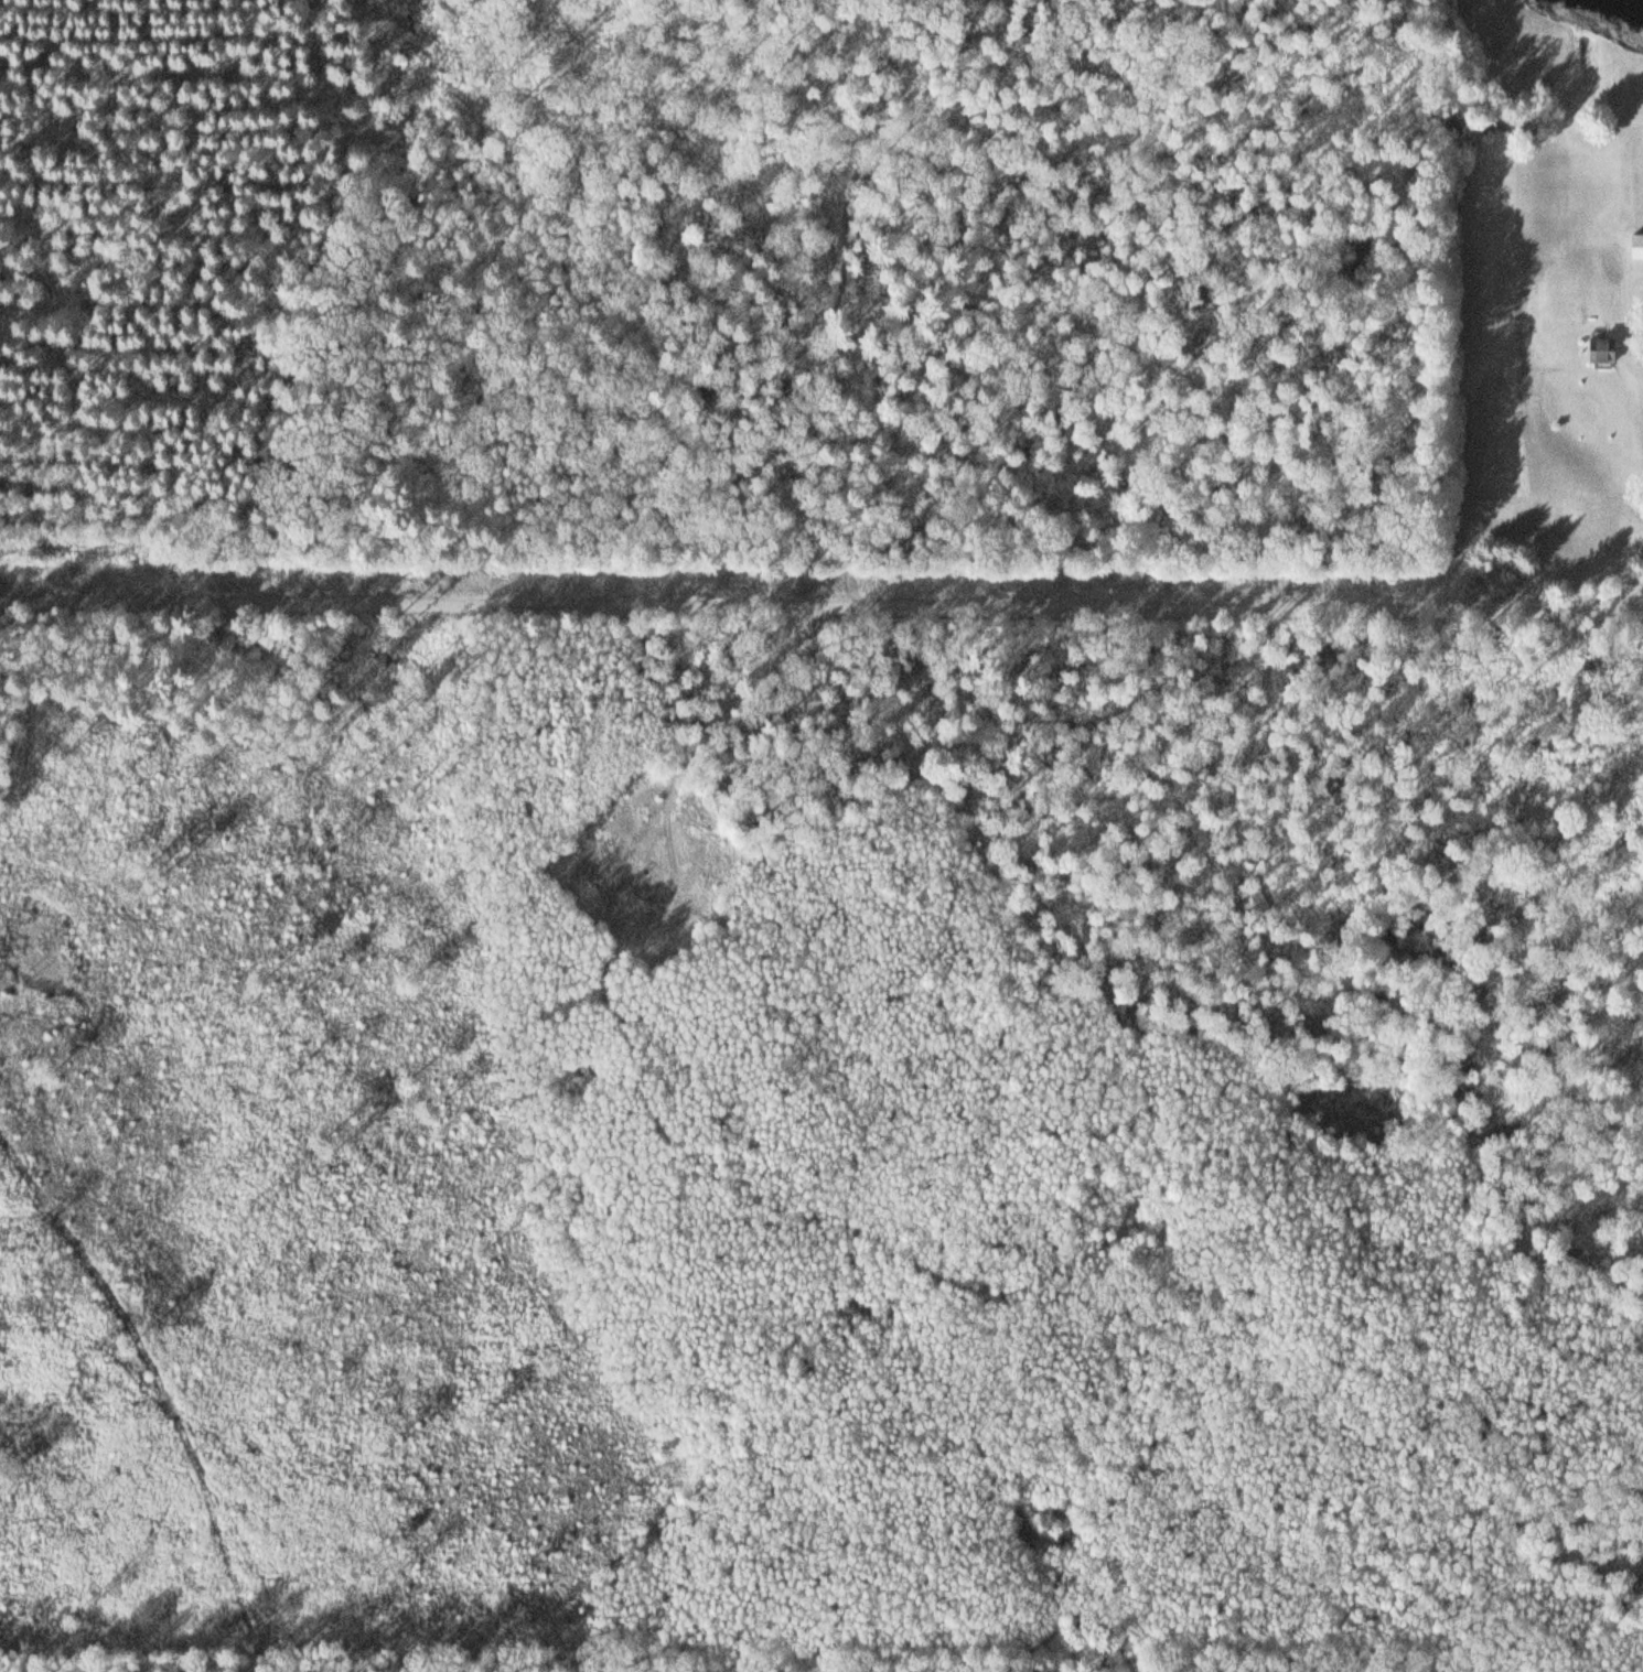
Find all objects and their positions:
building: (1633, 247)
building: (1596, 350)
road: (1141, 352)
road: (559, 481)
road: (820, 604)
road: (729, 734)
road: (1316, 954)
road: (130, 1412)
road: (121, 1663)

